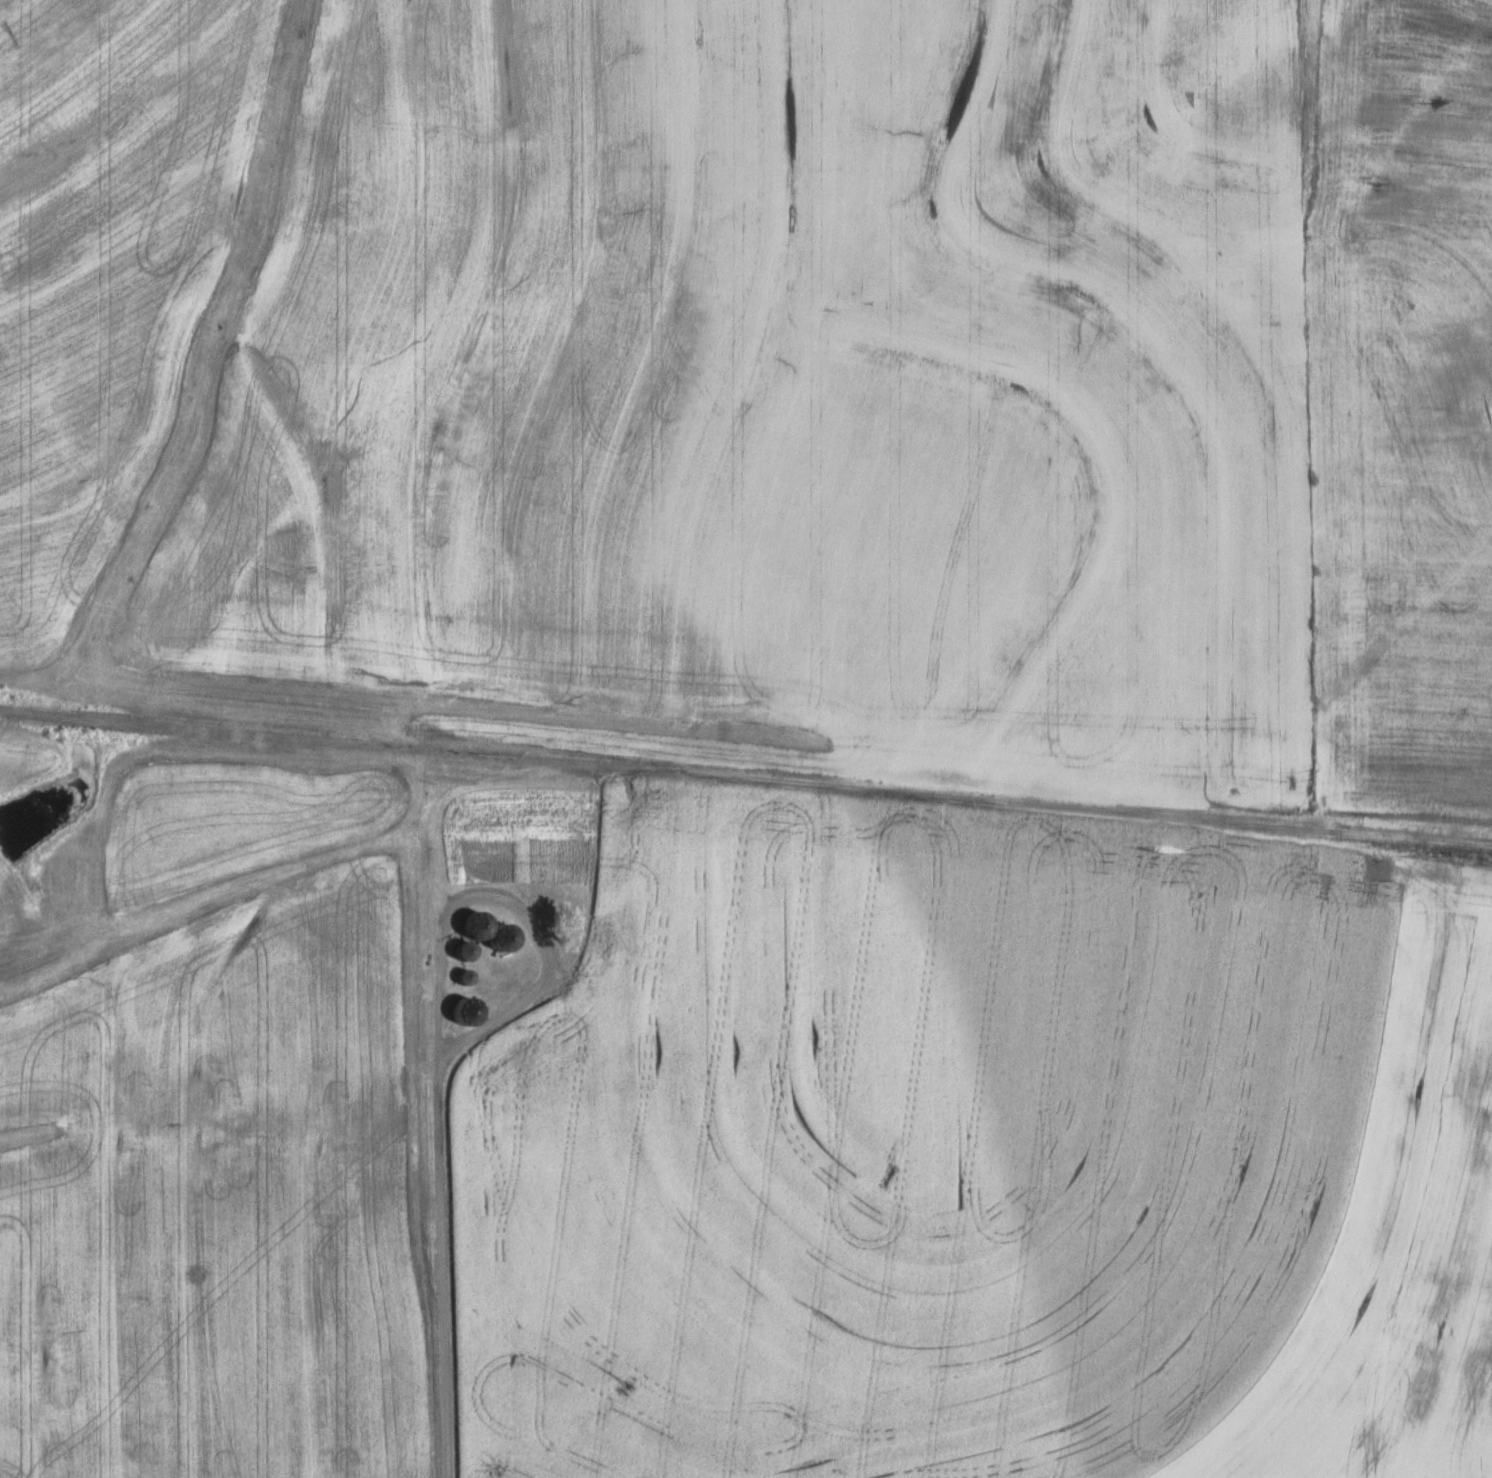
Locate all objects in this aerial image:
building: (473, 925)
building: (461, 950)
building: (462, 977)
road: (442, 1262)

